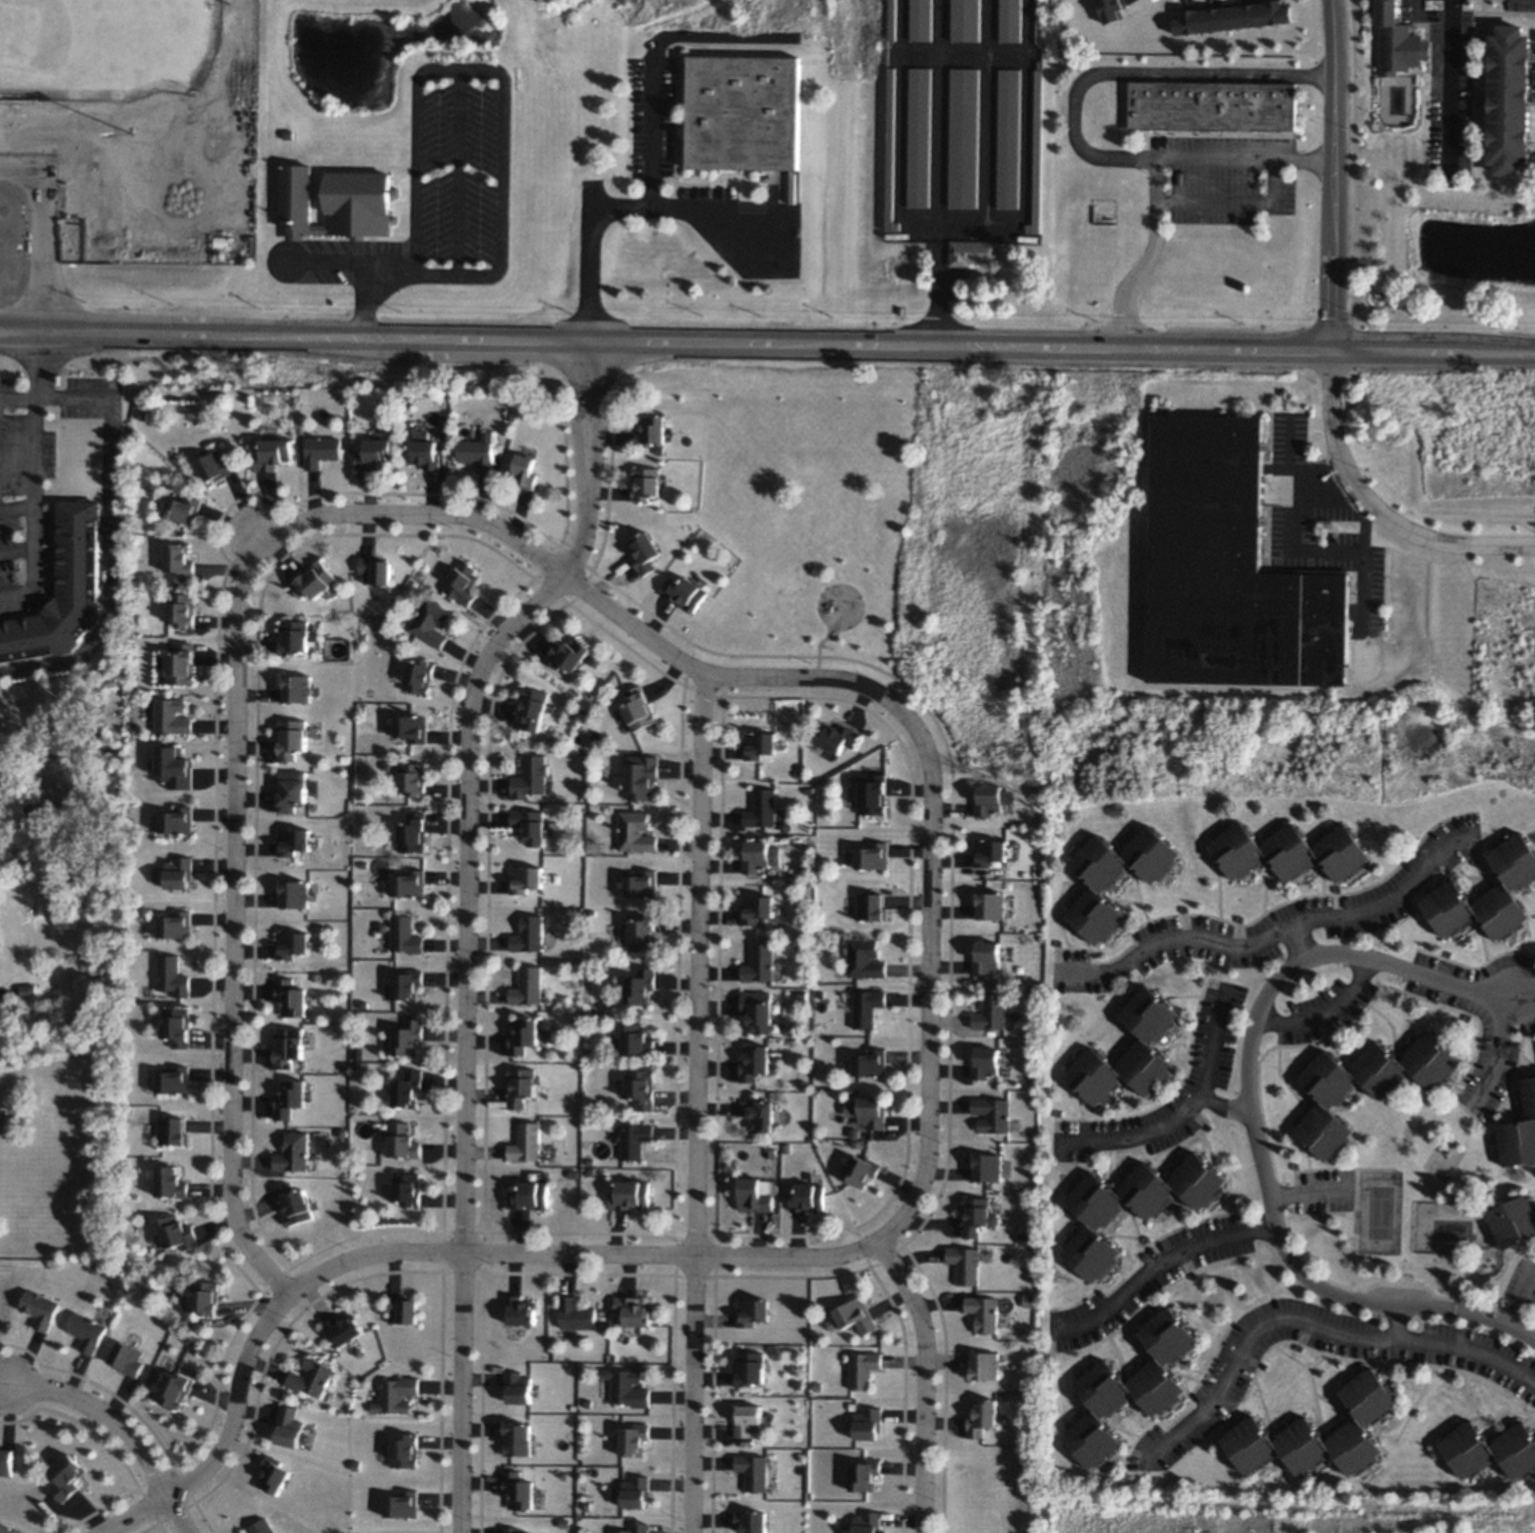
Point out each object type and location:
parking lot: (1519, 3)
road: (1415, 5)
building: (1114, 10)
building: (1232, 17)
building: (920, 20)
building: (965, 20)
building: (1009, 20)
road: (711, 35)
building: (1398, 41)
park: (105, 47)
road: (1532, 53)
road: (920, 54)
road: (1473, 76)
road: (1450, 84)
road: (1533, 89)
parking lot: (1450, 90)
building: (1509, 94)
road: (1532, 95)
road: (1533, 105)
building: (1213, 106)
building: (742, 114)
road: (1075, 115)
road: (503, 127)
road: (1532, 131)
road: (654, 132)
building: (919, 136)
road: (1532, 137)
building: (964, 139)
building: (1009, 139)
road: (1534, 148)
building: (889, 152)
building: (1037, 154)
road: (458, 172)
road: (1336, 174)
parking lot: (1222, 177)
parking lot: (434, 191)
road: (1234, 199)
road: (631, 202)
building: (333, 204)
road: (40, 237)
building: (971, 252)
road: (1145, 254)
road: (767, 341)
road: (38, 364)
building: (651, 429)
road: (35, 450)
building: (321, 450)
building: (423, 450)
building: (478, 452)
building: (374, 453)
building: (272, 454)
building: (214, 463)
building: (524, 470)
building: (645, 483)
road: (1326, 487)
road: (1375, 505)
building: (436, 506)
building: (182, 509)
road: (1295, 516)
road: (112, 518)
road: (32, 543)
building: (643, 552)
building: (179, 559)
building: (94, 560)
road: (1364, 563)
building: (1229, 568)
building: (375, 570)
building: (313, 580)
building: (461, 582)
building: (59, 592)
building: (684, 592)
building: (181, 609)
building: (430, 622)
building: (294, 636)
building: (567, 654)
building: (181, 664)
building: (415, 675)
building: (296, 687)
building: (530, 708)
building: (637, 708)
building: (172, 716)
building: (837, 737)
building: (291, 738)
building: (759, 744)
road: (237, 763)
building: (174, 767)
building: (638, 776)
building: (530, 777)
building: (411, 778)
building: (291, 790)
building: (872, 793)
building: (990, 799)
building: (762, 808)
building: (176, 821)
building: (529, 825)
building: (634, 831)
building: (411, 832)
building: (293, 840)
building: (1289, 851)
building: (990, 852)
building: (759, 855)
building: (873, 855)
building: (178, 872)
building: (1115, 877)
building: (525, 878)
building: (408, 883)
building: (638, 883)
building: (295, 894)
building: (1487, 894)
building: (989, 905)
building: (871, 906)
building: (756, 908)
road: (466, 916)
building: (176, 924)
building: (641, 933)
building: (528, 934)
road: (1278, 934)
building: (404, 935)
road: (1300, 943)
building: (292, 944)
building: (985, 957)
building: (865, 958)
building: (759, 963)
building: (172, 975)
building: (406, 984)
building: (639, 985)
building: (527, 986)
building: (290, 997)
building: (867, 1007)
building: (758, 1010)
building: (991, 1012)
road: (1331, 1014)
building: (176, 1025)
building: (521, 1035)
building: (407, 1037)
building: (635, 1038)
building: (288, 1046)
building: (1128, 1052)
road: (1499, 1059)
building: (753, 1062)
building: (870, 1062)
building: (984, 1063)
building: (1405, 1064)
building: (1327, 1078)
building: (174, 1080)
building: (519, 1086)
building: (639, 1087)
building: (406, 1088)
building: (289, 1098)
road: (696, 1103)
road: (1225, 1106)
building: (867, 1111)
road: (1186, 1113)
building: (760, 1114)
building: (992, 1114)
building: (172, 1130)
road: (1255, 1131)
building: (1323, 1131)
building: (1520, 1132)
building: (633, 1139)
building: (401, 1140)
building: (525, 1142)
building: (293, 1152)
road: (929, 1154)
building: (987, 1167)
building: (858, 1169)
building: (169, 1181)
building: (406, 1189)
road: (1309, 1192)
building: (628, 1194)
building: (755, 1194)
building: (528, 1195)
building: (807, 1198)
building: (294, 1204)
building: (1131, 1206)
park: (1380, 1211)
building: (977, 1215)
building: (1513, 1221)
building: (177, 1232)
building: (965, 1263)
road: (1155, 1268)
road: (1520, 1295)
building: (204, 1297)
building: (39, 1308)
building: (402, 1309)
building: (519, 1310)
building: (632, 1310)
building: (752, 1311)
building: (983, 1312)
building: (575, 1314)
building: (852, 1316)
road: (1400, 1321)
road: (1308, 1322)
building: (345, 1328)
building: (85, 1331)
building: (126, 1358)
building: (985, 1365)
building: (750, 1367)
building: (862, 1368)
building: (312, 1377)
road: (926, 1381)
building: (516, 1387)
building: (627, 1387)
building: (1129, 1387)
building: (173, 1389)
building: (395, 1395)
road: (106, 1413)
building: (982, 1417)
building: (748, 1419)
building: (867, 1423)
building: (289, 1426)
building: (1318, 1432)
building: (516, 1438)
building: (633, 1439)
building: (1490, 1449)
building: (403, 1450)
building: (753, 1470)
building: (864, 1474)
building: (66, 1477)
road: (192, 1485)
building: (517, 1490)
building: (634, 1491)
building: (401, 1504)
road: (181, 1515)
building: (751, 1521)
building: (867, 1522)
building: (262, 1526)
building: (632, 1528)
building: (6, 1529)
building: (512, 1530)

